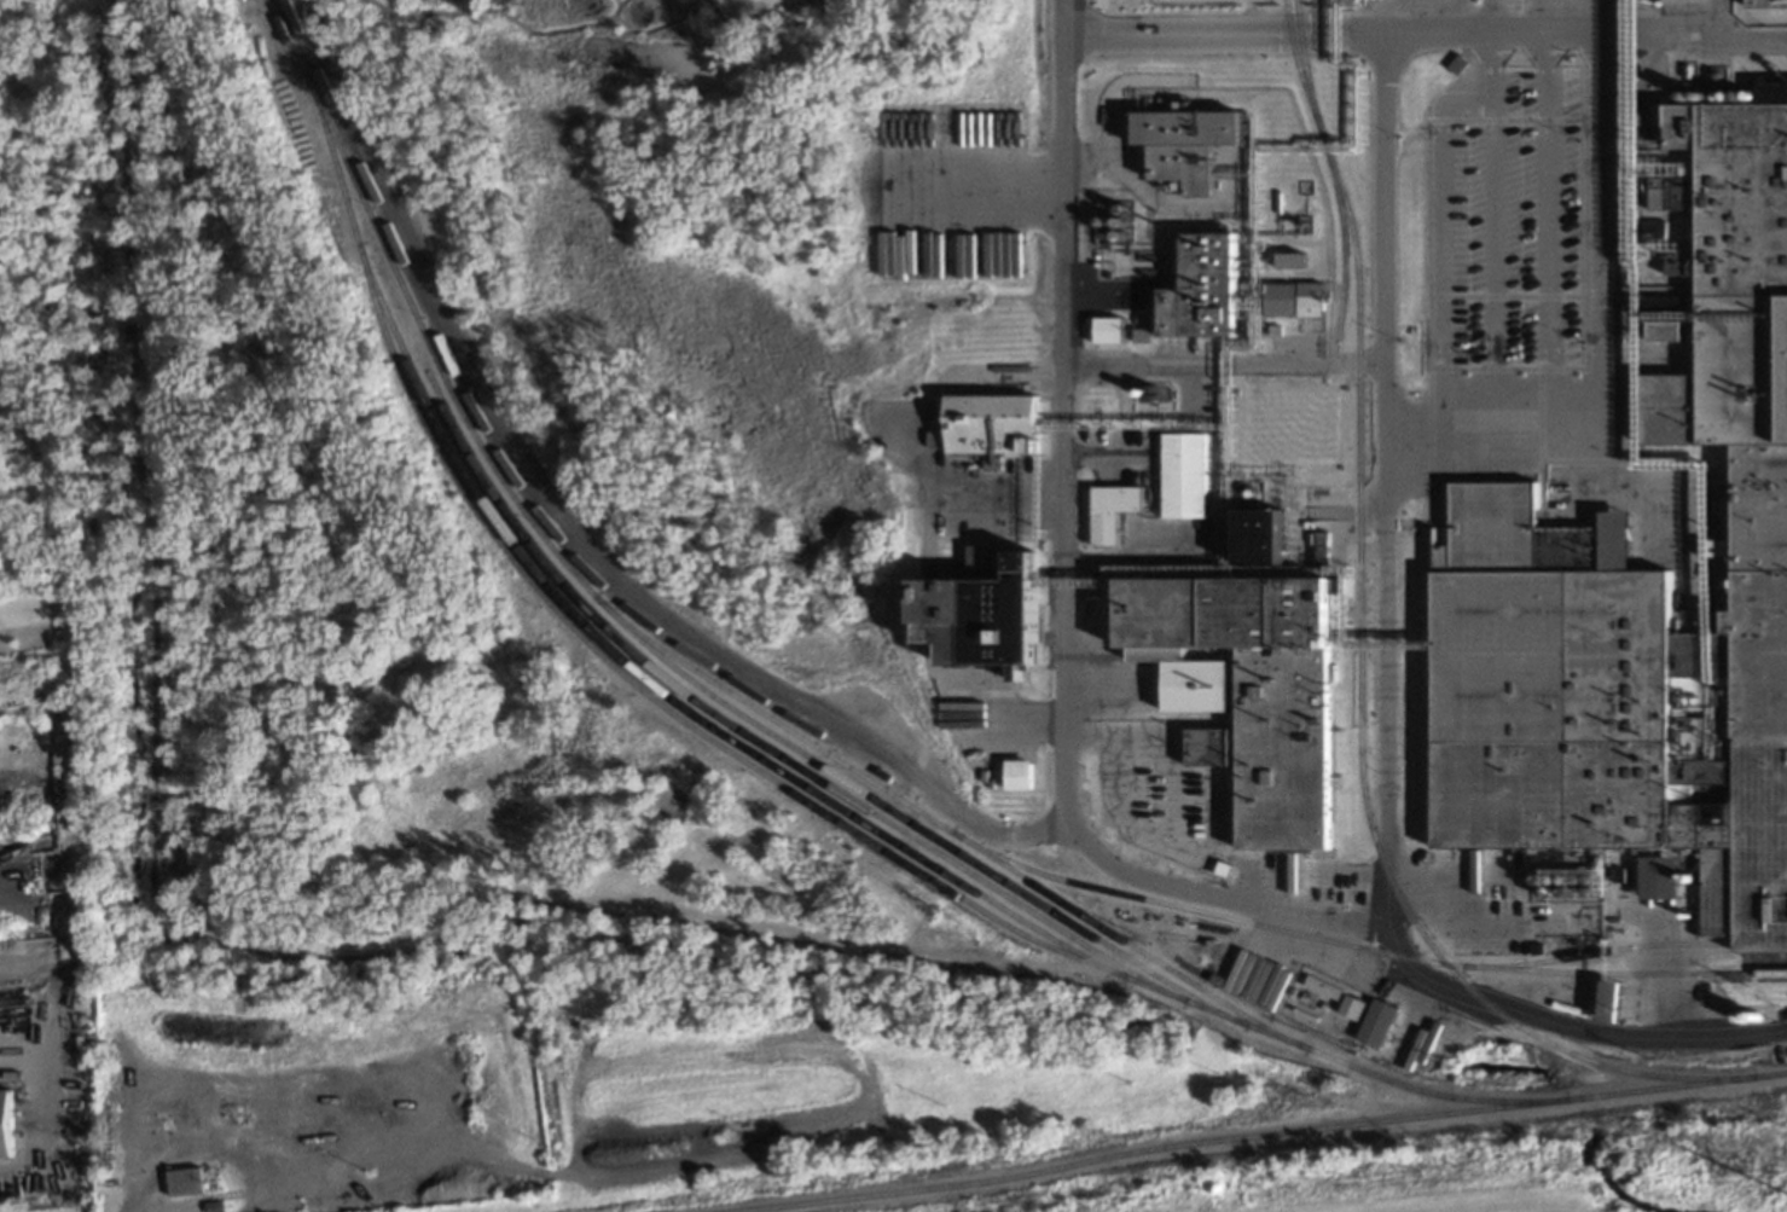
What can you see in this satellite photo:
road: (1437, 17)
road: (1485, 17)
road: (1525, 17)
road: (1090, 28)
road: (1420, 34)
railway: (1296, 68)
railway: (318, 116)
road: (1253, 126)
building: (1188, 146)
road: (1232, 175)
road: (968, 187)
road: (1487, 211)
road: (1538, 211)
railway: (1341, 240)
building: (1289, 260)
building: (1228, 292)
road: (1717, 315)
road: (1255, 320)
building: (1107, 330)
road: (1130, 355)
road: (1054, 361)
road: (1515, 390)
road: (1648, 413)
road: (1433, 416)
road: (1600, 416)
road: (871, 421)
building: (994, 427)
road: (1137, 430)
road: (1595, 442)
road: (1102, 454)
road: (1380, 466)
building: (1182, 475)
road: (1022, 505)
building: (1110, 511)
road: (562, 535)
road: (1322, 569)
building: (1642, 602)
building: (996, 613)
railway: (656, 646)
road: (1391, 646)
road: (923, 650)
railway: (1357, 660)
railway: (657, 689)
building: (1254, 695)
road: (1116, 724)
railway: (754, 740)
building: (1016, 773)
road: (1174, 787)
railway: (806, 801)
road: (1226, 819)
railway: (910, 822)
road: (1196, 856)
road: (1116, 866)
building: (1619, 875)
building: (1659, 877)
building: (1578, 886)
railway: (1115, 892)
road: (1280, 914)
road: (1474, 926)
railway: (1544, 961)
railway: (1528, 970)
building: (1608, 1002)
building: (1351, 1007)
road: (1519, 1013)
building: (1376, 1023)
building: (5, 1123)
railway: (1259, 1136)
road: (149, 1158)
building: (185, 1181)
crop: (1435, 1188)

